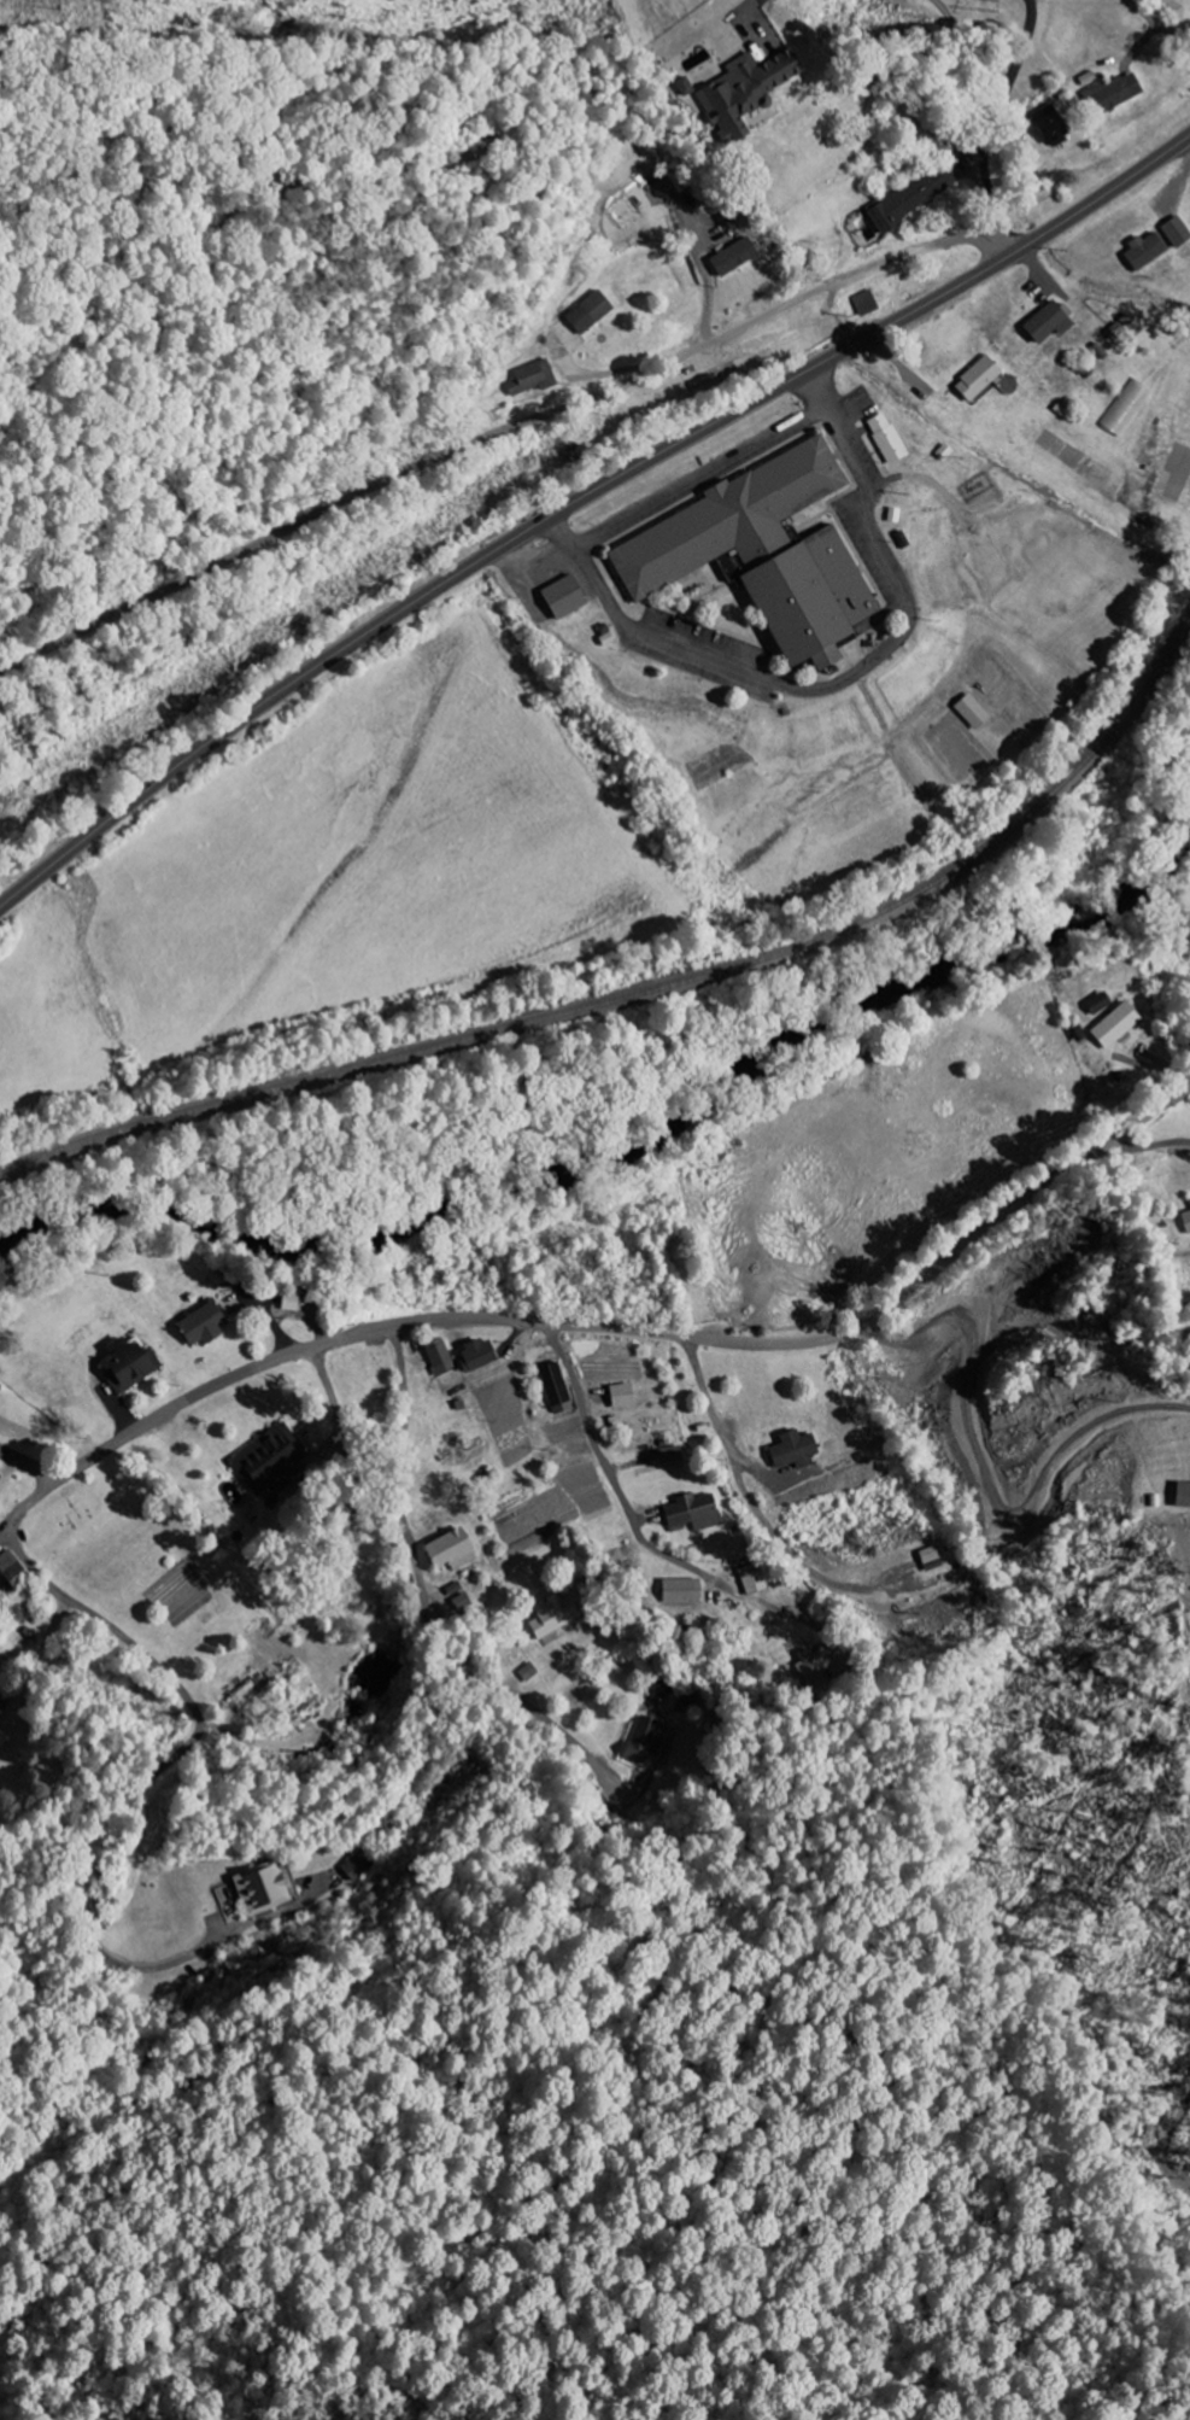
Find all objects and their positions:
road: (1125, 13)
building: (752, 24)
road: (735, 25)
road: (1027, 45)
road: (959, 54)
building: (681, 88)
building: (740, 93)
building: (1112, 94)
building: (1048, 127)
road: (974, 166)
building: (674, 182)
building: (911, 198)
building: (1155, 244)
building: (866, 303)
building: (587, 314)
building: (1048, 322)
building: (530, 379)
building: (977, 379)
building: (1125, 408)
road: (506, 427)
building: (885, 439)
building: (943, 452)
road: (702, 479)
road: (579, 499)
building: (891, 515)
building: (901, 540)
building: (760, 555)
building: (567, 597)
building: (600, 630)
building: (604, 639)
road: (846, 680)
building: (971, 712)
park: (960, 750)
railway: (647, 990)
building: (1098, 1004)
building: (1115, 1025)
building: (1185, 1221)
building: (288, 1302)
building: (200, 1325)
road: (645, 1332)
building: (475, 1355)
building: (438, 1357)
building: (127, 1366)
building: (555, 1389)
building: (621, 1396)
building: (792, 1450)
building: (669, 1455)
building: (268, 1460)
road: (600, 1460)
road: (29, 1461)
building: (1182, 1496)
building: (692, 1513)
road: (410, 1539)
building: (447, 1551)
building: (930, 1559)
building: (10, 1571)
building: (751, 1579)
building: (680, 1591)
building: (457, 1596)
road: (81, 1606)
building: (553, 1615)
building: (825, 1661)
building: (527, 1672)
building: (663, 1688)
building: (0, 1722)
building: (644, 1741)
building: (359, 1864)
road: (256, 1919)

